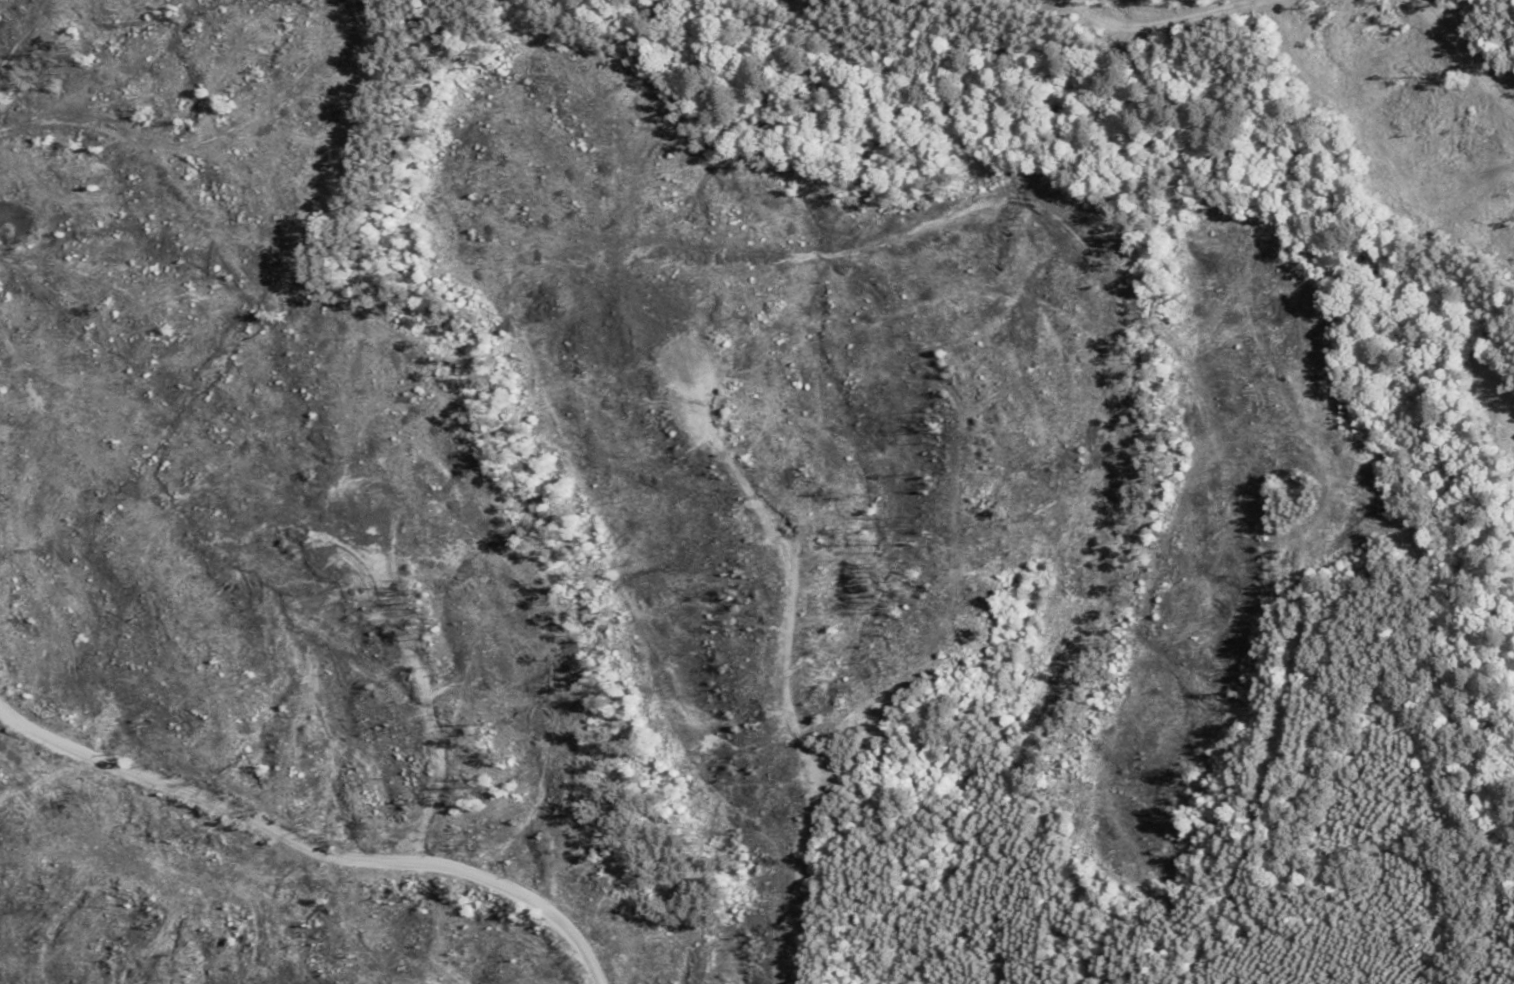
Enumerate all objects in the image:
road: (275, 857)

